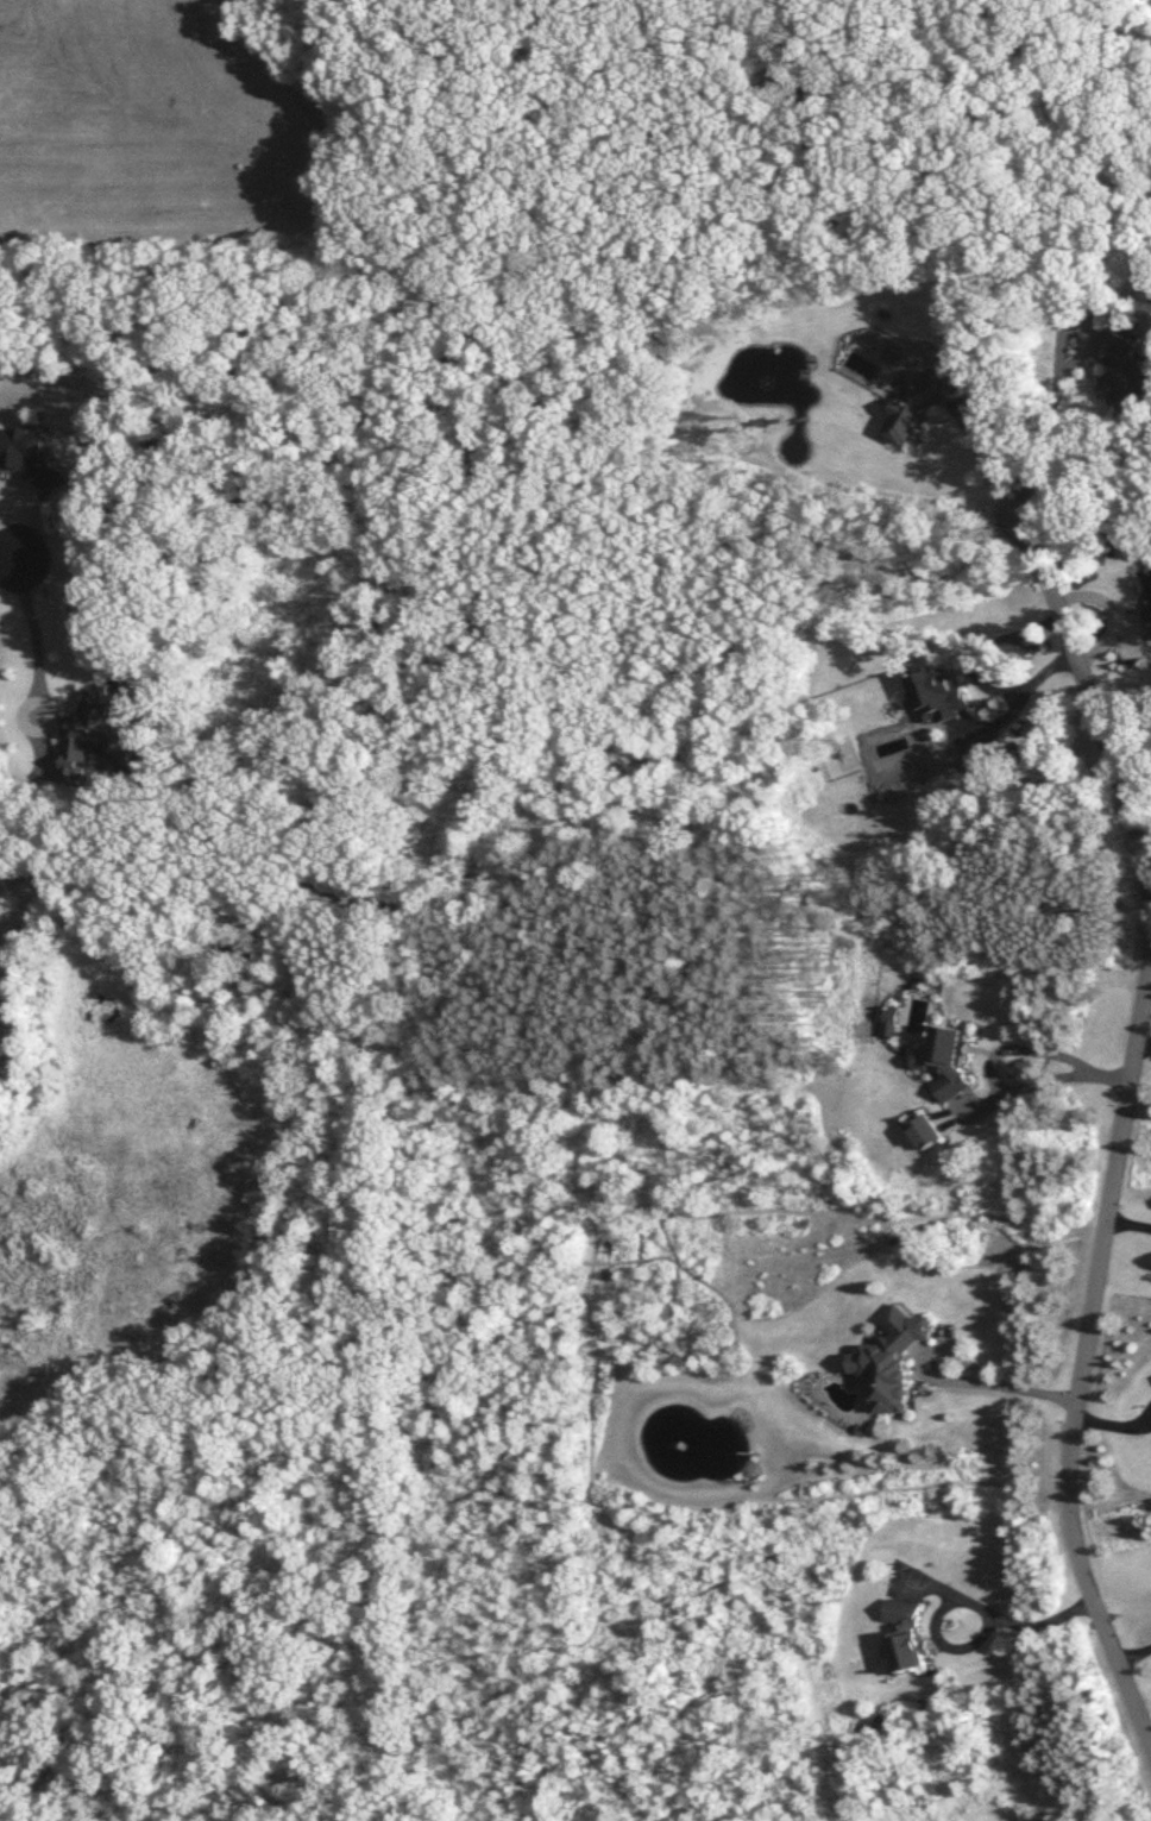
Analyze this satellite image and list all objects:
building: (1125, 370)
building: (924, 401)
road: (1046, 422)
road: (989, 457)
road: (6, 560)
building: (1150, 618)
road: (36, 636)
road: (973, 672)
building: (939, 693)
road: (1090, 697)
building: (948, 1060)
road: (999, 1087)
road: (1086, 1333)
building: (894, 1358)
road: (958, 1380)
road: (964, 1601)
building: (908, 1638)
road: (1134, 1651)

